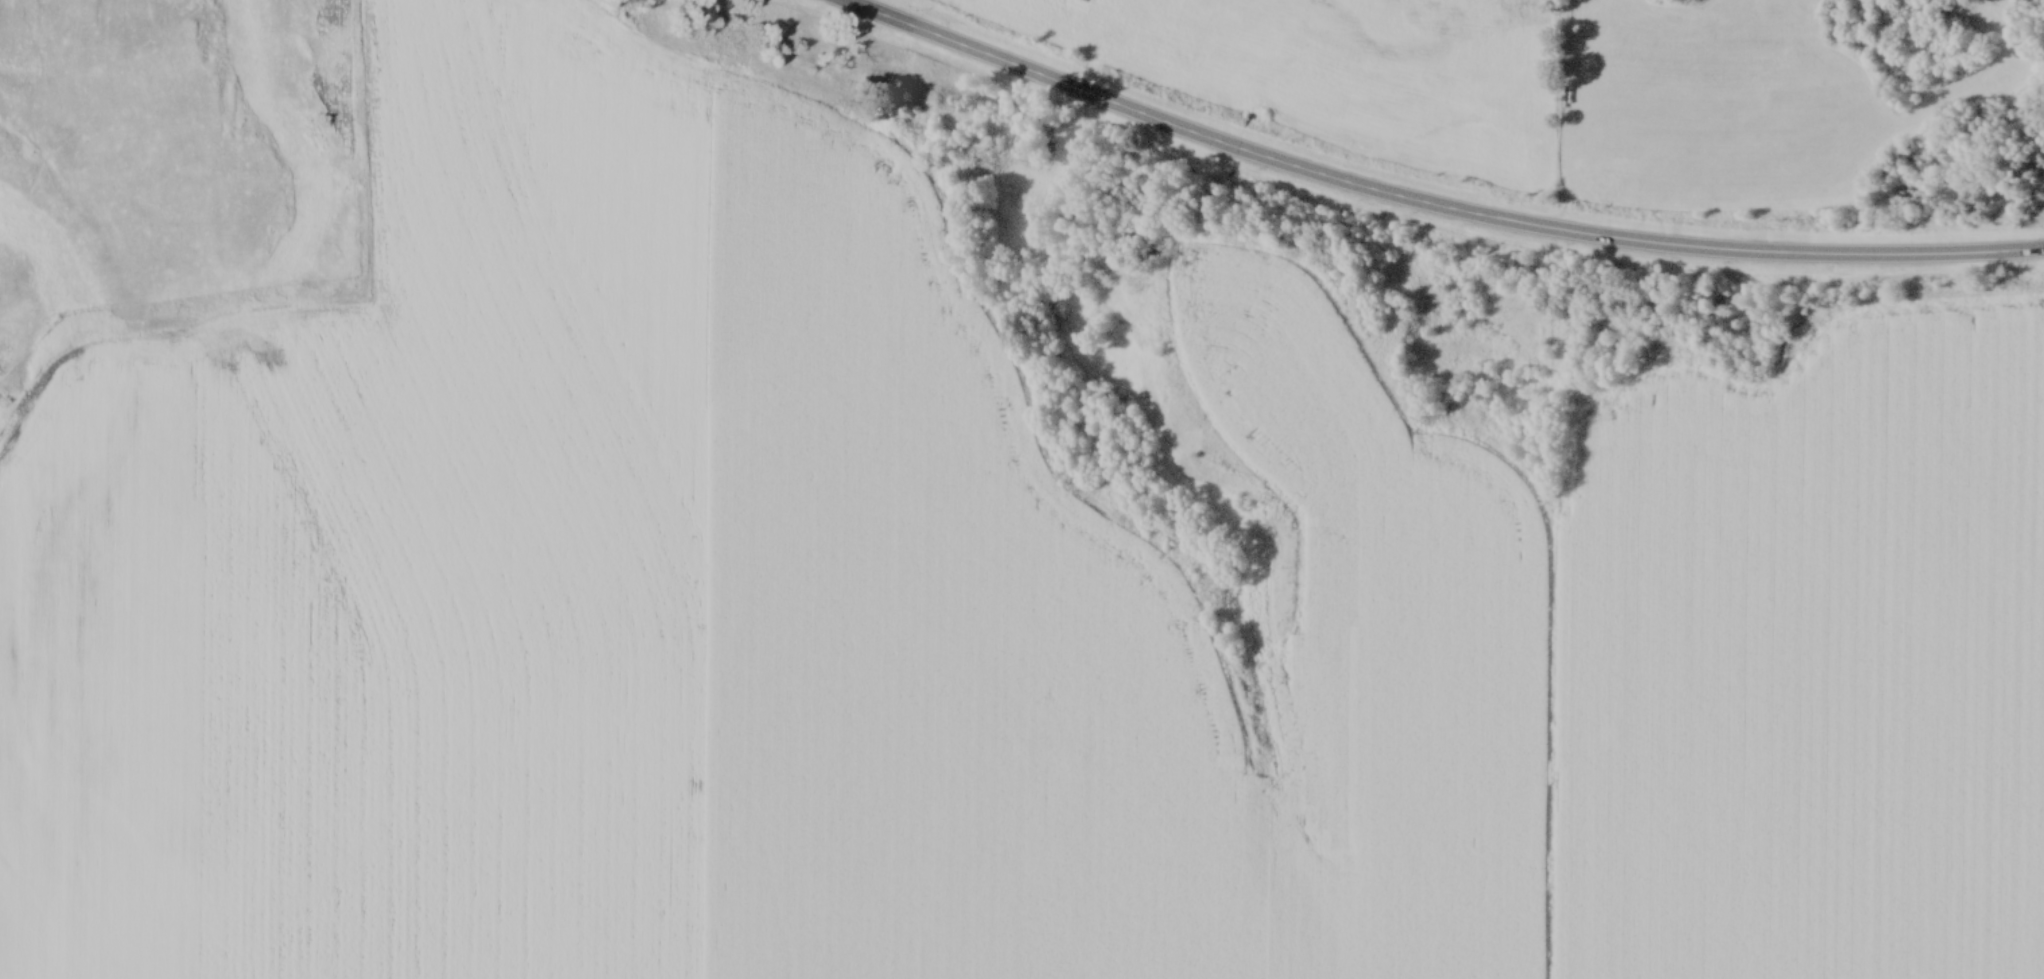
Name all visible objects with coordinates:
road: (1433, 204)

